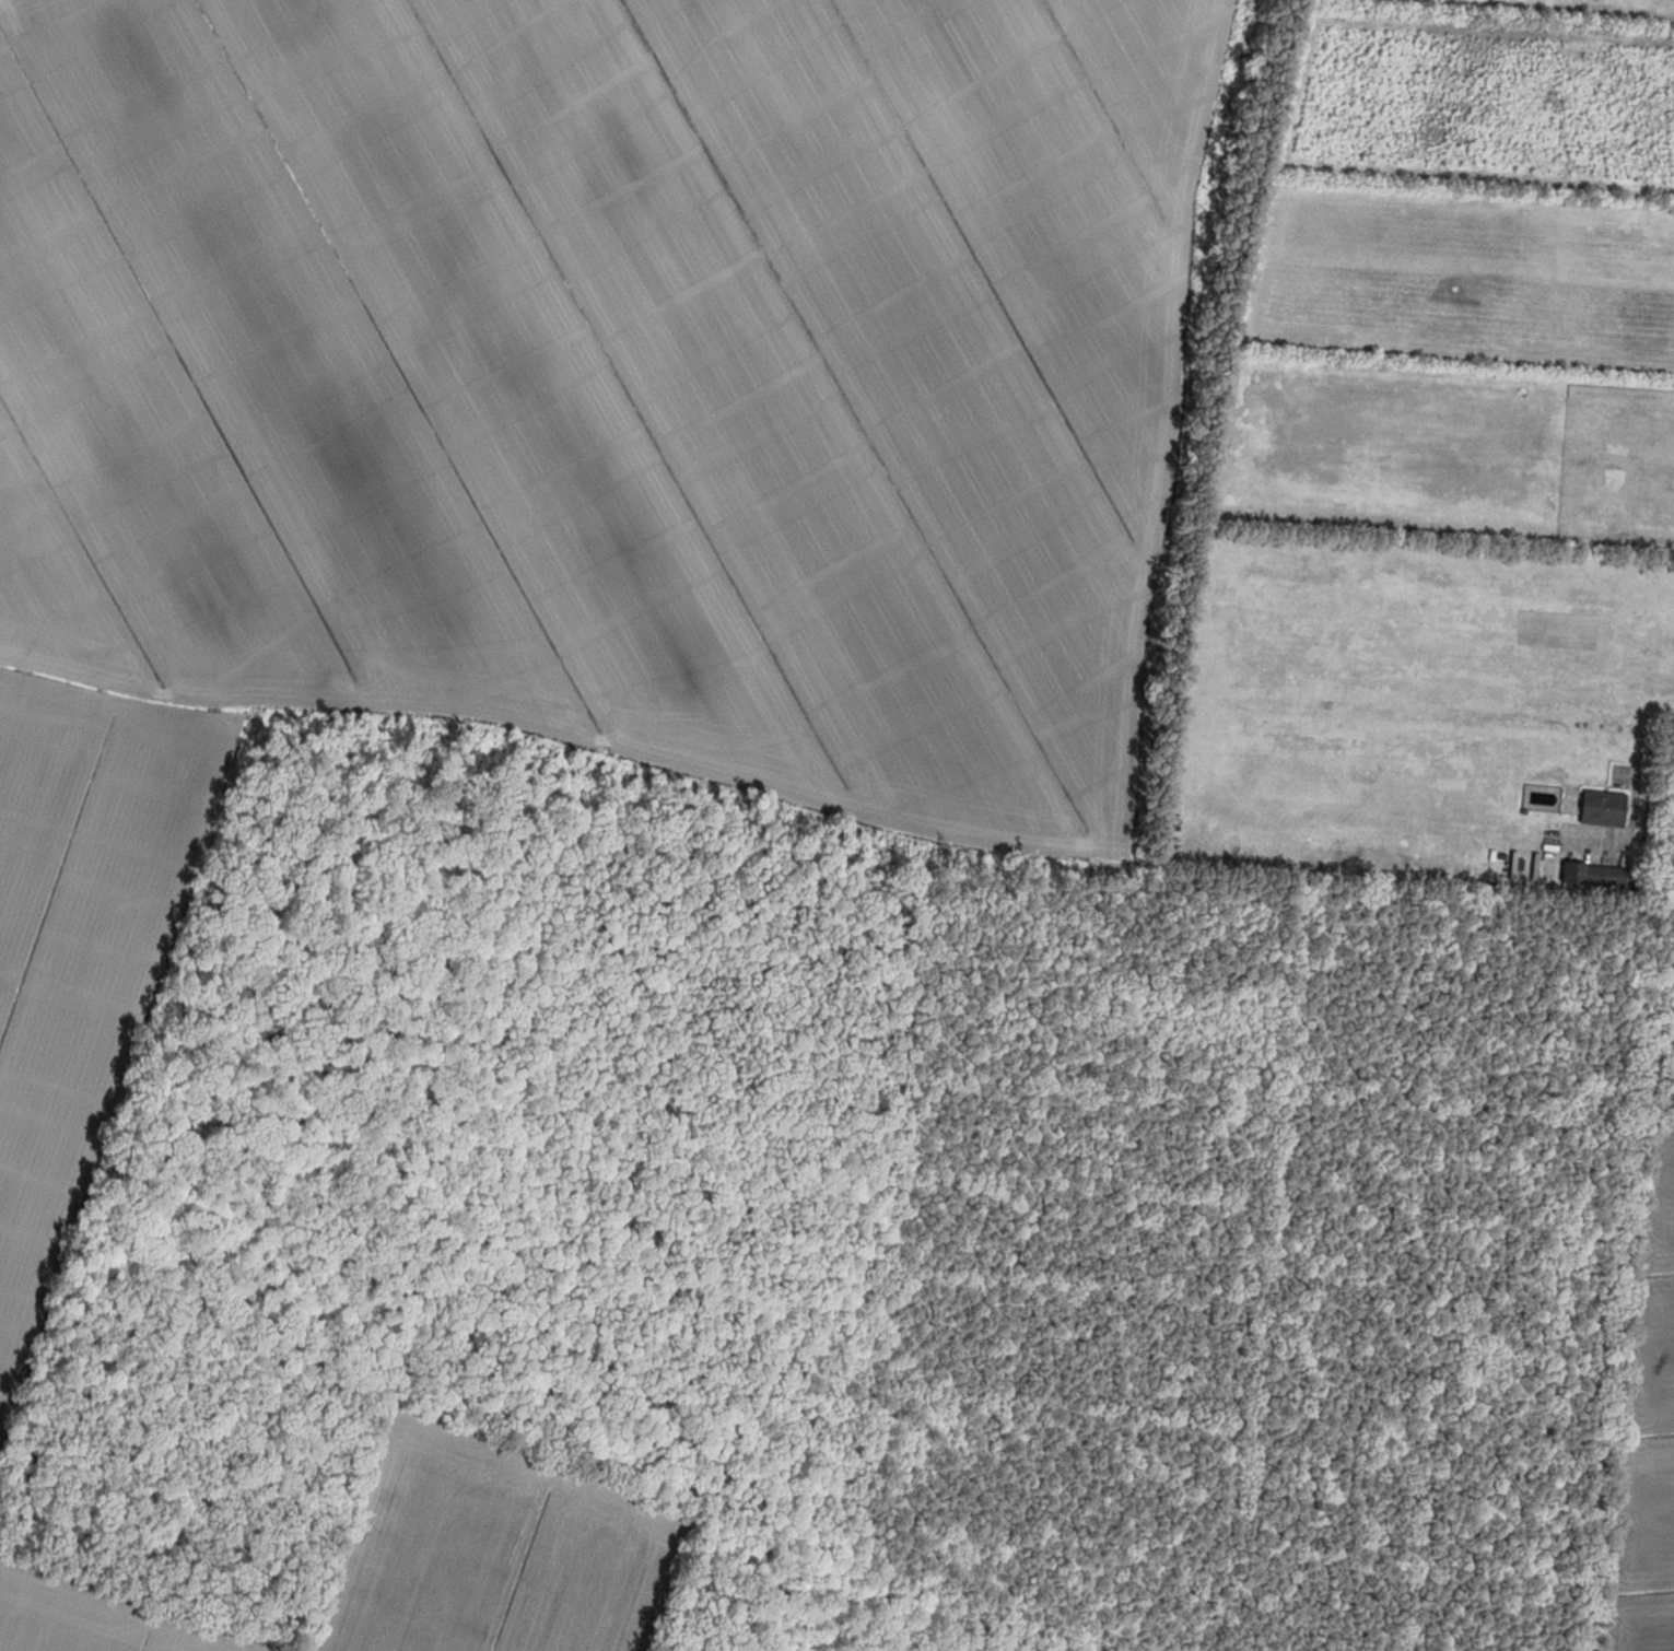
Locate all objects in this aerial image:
building: (1602, 809)
building: (1592, 877)

